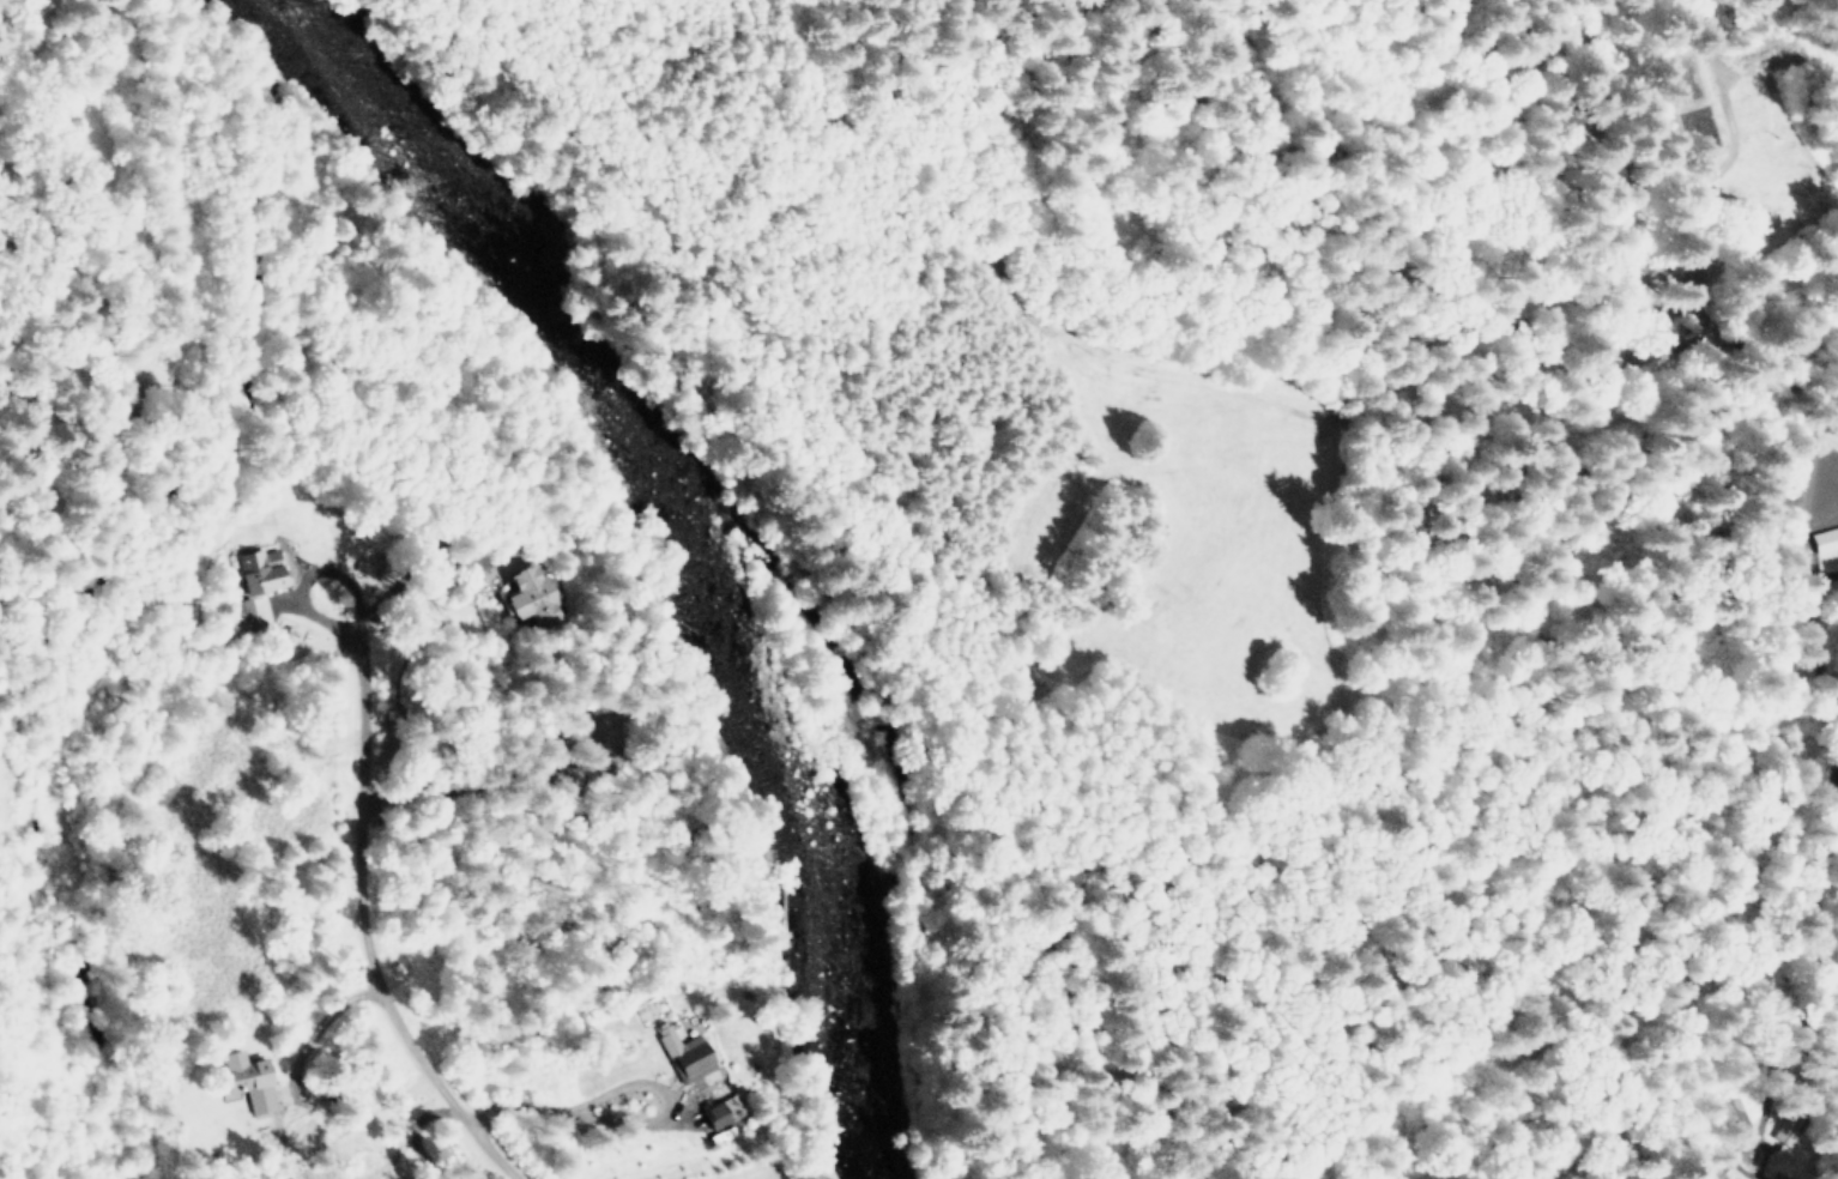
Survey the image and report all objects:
river: (682, 525)
building: (1825, 540)
building: (261, 570)
building: (531, 599)
building: (249, 613)
road: (370, 932)
road: (324, 1020)
building: (687, 1054)
building: (250, 1080)
building: (718, 1114)
road: (639, 1125)
building: (1788, 1129)
building: (1777, 1175)

